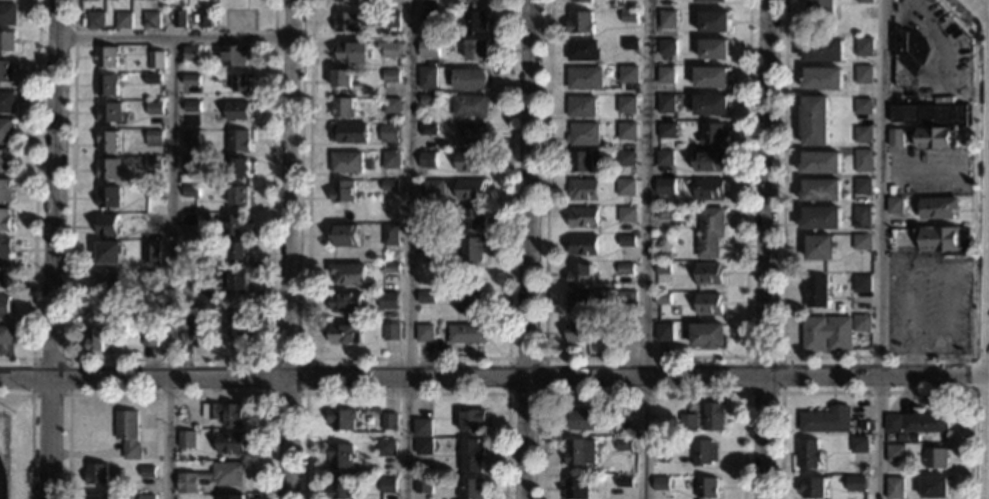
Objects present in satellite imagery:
building: (347, 1)
building: (582, 1)
building: (711, 1)
building: (865, 1)
building: (822, 7)
building: (8, 14)
building: (430, 17)
building: (630, 17)
building: (180, 18)
building: (202, 19)
building: (668, 19)
building: (95, 20)
building: (123, 20)
building: (151, 20)
building: (392, 20)
building: (347, 22)
building: (581, 22)
building: (714, 22)
building: (476, 23)
road: (975, 25)
road: (177, 37)
building: (7, 42)
building: (631, 44)
building: (668, 47)
building: (864, 47)
building: (430, 48)
building: (390, 49)
building: (478, 49)
building: (584, 50)
building: (715, 50)
building: (824, 50)
building: (352, 52)
building: (191, 53)
building: (235, 55)
building: (910, 56)
building: (106, 57)
building: (156, 60)
building: (6, 71)
building: (379, 74)
building: (864, 74)
building: (629, 75)
building: (666, 75)
building: (392, 76)
building: (428, 77)
building: (712, 77)
building: (344, 78)
building: (585, 78)
building: (153, 79)
building: (468, 79)
building: (824, 79)
building: (192, 80)
building: (242, 82)
building: (106, 84)
building: (429, 100)
building: (6, 102)
building: (667, 103)
building: (393, 105)
building: (628, 105)
building: (712, 105)
building: (192, 106)
building: (471, 106)
building: (583, 107)
building: (863, 107)
building: (154, 108)
building: (344, 108)
building: (238, 111)
building: (109, 113)
building: (933, 115)
building: (815, 121)
building: (429, 130)
building: (668, 130)
building: (5, 131)
building: (628, 131)
building: (351, 133)
building: (389, 133)
building: (473, 134)
building: (714, 134)
building: (862, 134)
building: (584, 135)
building: (191, 137)
building: (895, 137)
building: (155, 138)
building: (936, 138)
building: (108, 140)
building: (239, 140)
building: (626, 158)
building: (665, 158)
building: (392, 159)
building: (429, 160)
building: (709, 160)
building: (863, 160)
building: (6, 161)
building: (581, 161)
building: (347, 162)
building: (472, 162)
building: (821, 163)
building: (153, 164)
building: (192, 166)
building: (240, 167)
building: (109, 169)
building: (390, 186)
building: (666, 186)
building: (862, 186)
building: (626, 187)
building: (432, 189)
building: (584, 189)
building: (5, 190)
building: (344, 190)
building: (472, 190)
building: (710, 190)
building: (821, 190)
building: (191, 191)
building: (152, 192)
road: (34, 195)
building: (239, 195)
building: (109, 197)
building: (895, 205)
building: (937, 208)
building: (627, 213)
building: (429, 214)
building: (666, 216)
building: (584, 217)
building: (862, 217)
building: (190, 218)
building: (821, 218)
building: (4, 220)
building: (473, 220)
building: (153, 222)
building: (108, 225)
building: (236, 225)
building: (710, 232)
building: (345, 235)
building: (391, 235)
building: (945, 240)
building: (627, 241)
building: (861, 242)
building: (430, 243)
building: (583, 246)
building: (5, 248)
building: (820, 248)
road: (53, 249)
road: (293, 249)
road: (407, 249)
building: (473, 249)
road: (529, 249)
road: (643, 249)
road: (766, 249)
road: (879, 249)
building: (239, 251)
building: (110, 252)
building: (152, 253)
building: (665, 256)
building: (217, 263)
road: (172, 268)
building: (390, 268)
building: (625, 268)
building: (662, 269)
building: (349, 274)
building: (152, 275)
building: (581, 275)
building: (709, 275)
building: (4, 277)
road: (907, 278)
building: (108, 281)
building: (238, 281)
building: (861, 283)
building: (816, 292)
building: (425, 297)
building: (627, 297)
building: (662, 298)
building: (208, 301)
building: (347, 301)
building: (390, 301)
building: (470, 302)
building: (581, 303)
building: (708, 304)
building: (5, 306)
building: (186, 321)
building: (861, 323)
building: (236, 325)
road: (947, 328)
building: (149, 329)
building: (391, 332)
building: (578, 332)
building: (625, 332)
building: (663, 332)
building: (425, 333)
building: (466, 333)
building: (826, 334)
building: (6, 335)
building: (345, 335)
building: (707, 335)
building: (152, 338)
building: (101, 339)
road: (881, 356)
road: (643, 357)
road: (744, 357)
road: (406, 358)
road: (543, 358)
road: (68, 359)
road: (168, 359)
road: (270, 359)
road: (971, 363)
road: (494, 376)
road: (987, 382)
road: (980, 390)
road: (876, 391)
road: (643, 392)
road: (168, 394)
road: (405, 394)
building: (226, 413)
building: (713, 416)
building: (342, 419)
building: (583, 420)
building: (825, 420)
building: (389, 421)
building: (472, 421)
building: (925, 422)
building: (688, 423)
building: (891, 424)
building: (422, 427)
building: (622, 428)
road: (31, 431)
building: (129, 433)
building: (187, 440)
building: (232, 443)
building: (624, 445)
building: (858, 445)
building: (386, 447)
building: (423, 447)
building: (660, 447)
building: (576, 452)
building: (701, 452)
building: (894, 453)
building: (808, 454)
building: (471, 456)
building: (341, 457)
building: (935, 458)
building: (148, 472)
building: (97, 474)
building: (213, 477)
building: (623, 482)
building: (660, 483)
building: (854, 483)
building: (387, 485)
building: (423, 486)
building: (703, 487)
building: (934, 487)
building: (575, 488)
building: (812, 488)
building: (893, 488)
building: (340, 489)
building: (472, 489)
building: (100, 497)
building: (147, 497)
building: (233, 497)

